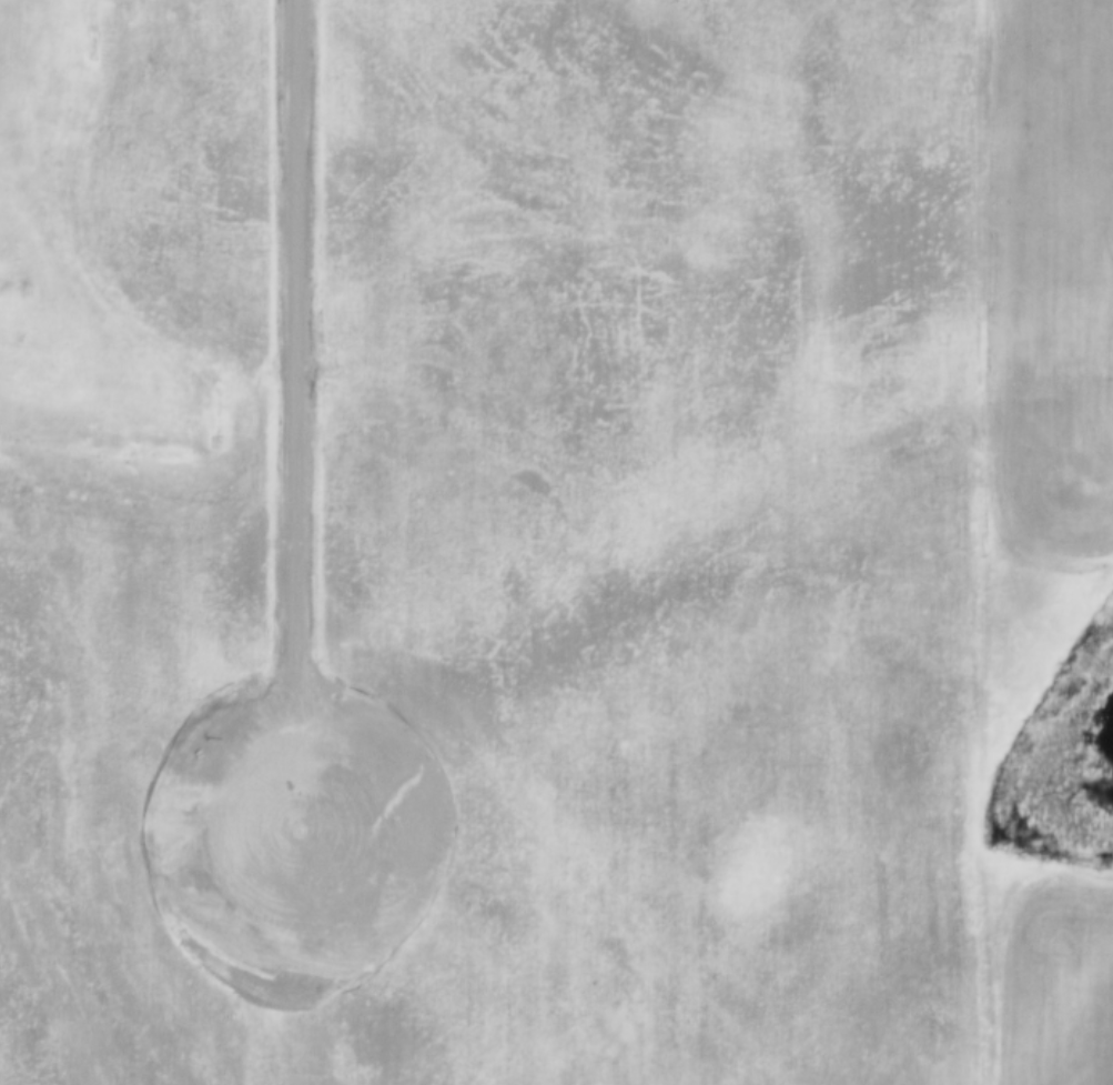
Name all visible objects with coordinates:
road: (991, 542)
wind turbine: (303, 828)

